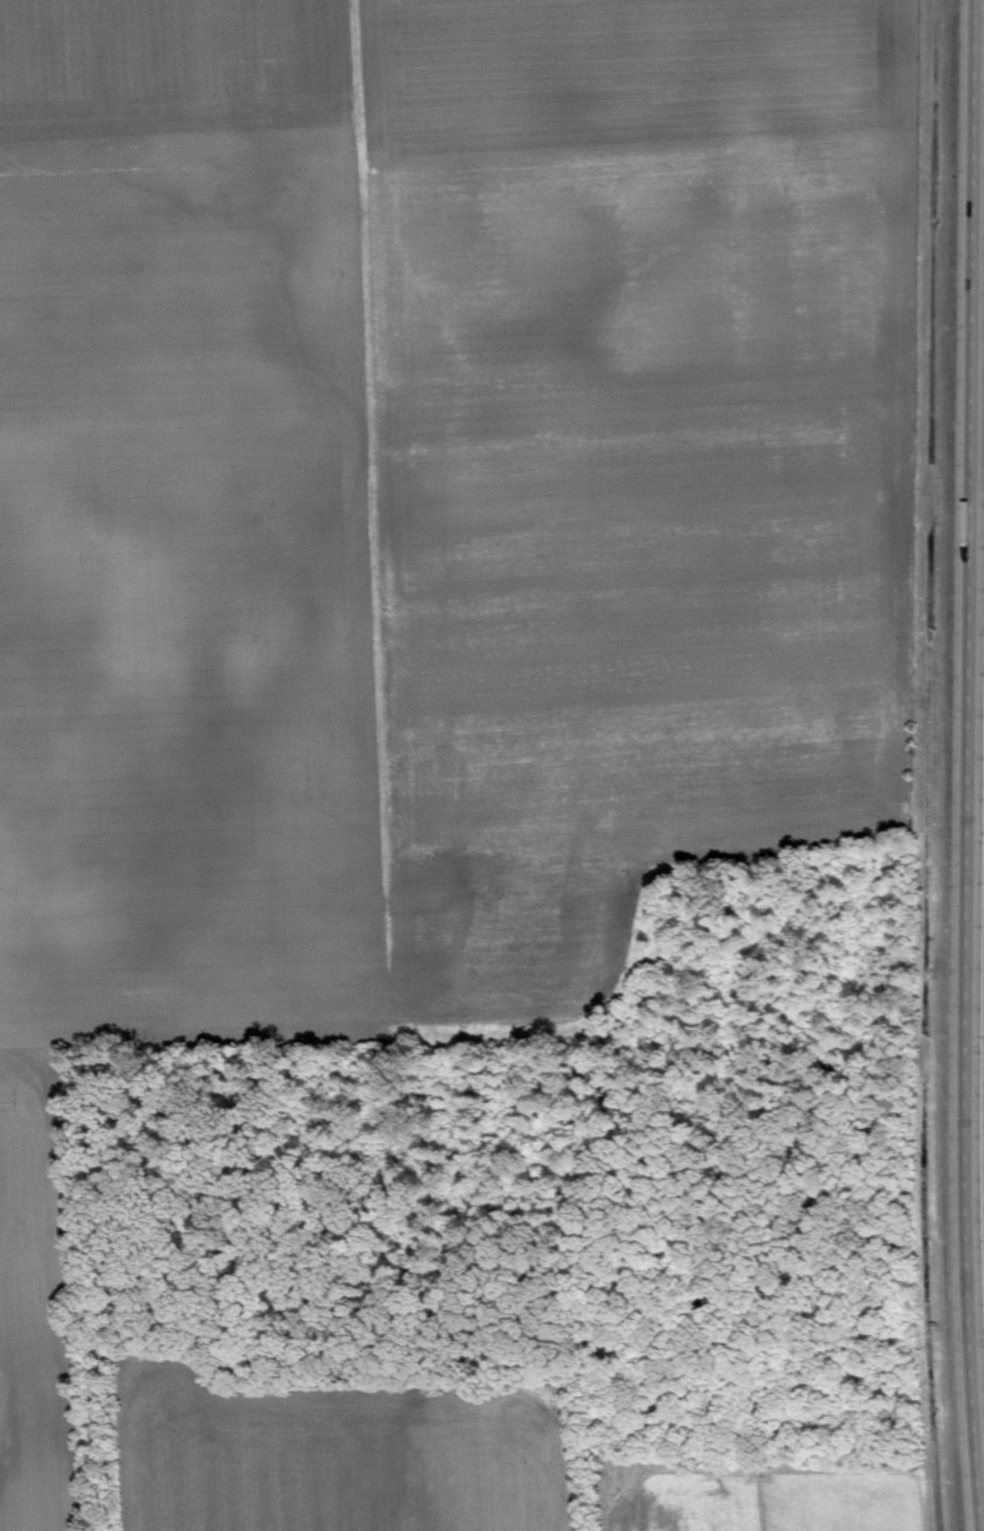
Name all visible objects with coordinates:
road: (961, 765)

